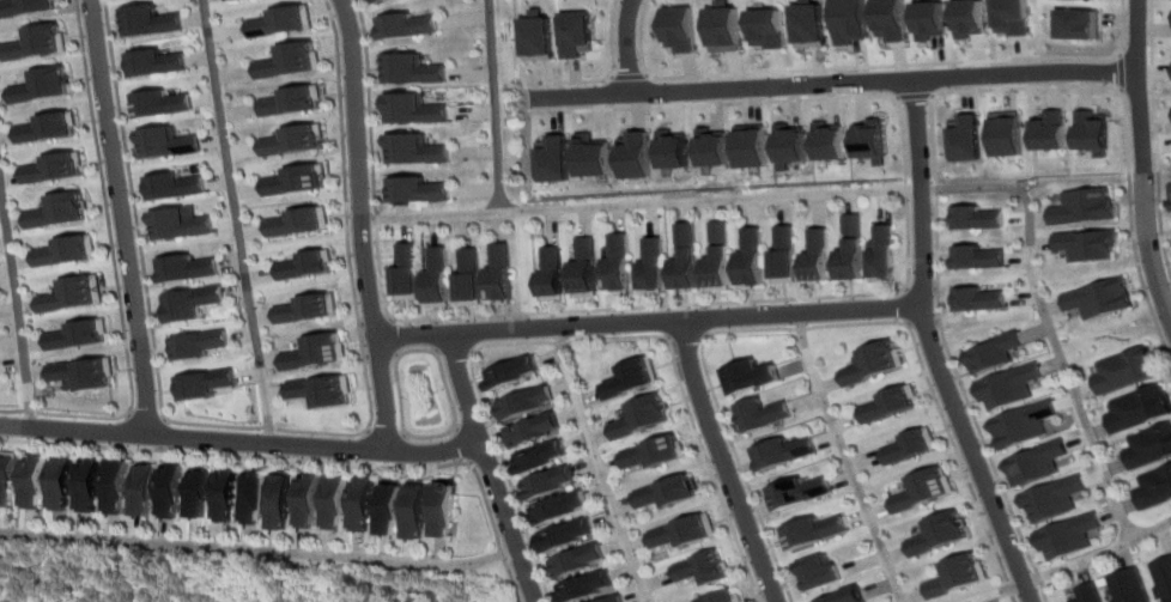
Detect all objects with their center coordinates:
building: (233, 0)
building: (381, 1)
building: (25, 6)
building: (1015, 17)
building: (973, 18)
building: (934, 19)
building: (151, 20)
building: (854, 20)
building: (896, 20)
building: (286, 22)
building: (1081, 24)
building: (412, 25)
building: (812, 25)
building: (684, 28)
building: (771, 28)
building: (728, 29)
building: (581, 34)
road: (1141, 36)
building: (540, 38)
building: (35, 42)
road: (631, 47)
building: (293, 61)
building: (158, 62)
road: (874, 67)
building: (412, 69)
road: (1123, 73)
road: (1027, 74)
road: (629, 75)
road: (608, 77)
building: (40, 85)
road: (773, 87)
road: (915, 96)
road: (581, 98)
building: (295, 101)
building: (165, 102)
road: (495, 107)
building: (415, 110)
road: (932, 124)
building: (43, 128)
building: (1050, 130)
building: (1092, 130)
building: (1007, 133)
road: (1155, 134)
building: (966, 139)
building: (297, 140)
building: (872, 140)
building: (829, 141)
building: (168, 142)
building: (790, 145)
building: (751, 146)
building: (711, 148)
building: (417, 150)
building: (673, 150)
building: (593, 156)
building: (635, 156)
building: (553, 158)
building: (54, 168)
building: (298, 180)
building: (1170, 186)
building: (177, 187)
building: (421, 189)
road: (874, 194)
road: (1145, 197)
building: (1084, 206)
building: (57, 212)
building: (979, 217)
road: (119, 218)
building: (298, 221)
road: (241, 223)
building: (182, 225)
road: (360, 226)
building: (1090, 244)
building: (850, 247)
building: (65, 251)
building: (882, 251)
building: (784, 253)
building: (685, 254)
building: (817, 254)
building: (718, 255)
building: (751, 256)
building: (981, 257)
building: (619, 261)
building: (651, 262)
building: (305, 264)
building: (585, 266)
building: (189, 268)
building: (405, 270)
road: (113, 272)
building: (500, 273)
building: (553, 275)
building: (437, 278)
building: (469, 279)
road: (922, 288)
building: (72, 296)
building: (983, 299)
building: (1103, 299)
road: (767, 300)
building: (193, 303)
road: (908, 306)
building: (307, 309)
road: (17, 312)
road: (650, 322)
road: (927, 323)
road: (814, 327)
road: (435, 334)
road: (469, 334)
building: (75, 335)
road: (687, 335)
road: (393, 336)
road: (578, 340)
building: (200, 345)
road: (935, 348)
road: (455, 351)
building: (316, 352)
building: (994, 354)
road: (380, 357)
building: (876, 364)
building: (512, 372)
building: (1126, 372)
building: (0, 373)
building: (84, 375)
building: (753, 377)
building: (635, 378)
building: (206, 383)
building: (1011, 387)
building: (321, 393)
building: (527, 402)
building: (891, 405)
building: (1140, 411)
building: (767, 414)
road: (146, 416)
building: (648, 416)
road: (472, 424)
building: (1024, 425)
road: (272, 428)
building: (535, 430)
road: (387, 432)
road: (162, 434)
road: (431, 436)
road: (239, 443)
road: (460, 445)
building: (909, 445)
building: (1148, 449)
building: (660, 452)
building: (785, 452)
road: (484, 457)
building: (541, 457)
road: (848, 458)
road: (309, 461)
road: (729, 462)
building: (1037, 462)
road: (606, 464)
road: (490, 468)
building: (7, 474)
building: (34, 480)
building: (61, 482)
building: (553, 482)
building: (87, 485)
building: (116, 485)
building: (144, 488)
building: (1153, 488)
building: (171, 489)
building: (923, 489)
building: (199, 492)
building: (672, 492)
building: (803, 492)
building: (226, 493)
building: (253, 497)
building: (309, 499)
building: (1051, 499)
building: (280, 500)
building: (336, 500)
building: (363, 504)
building: (390, 506)
building: (445, 509)
building: (563, 509)
building: (418, 510)
building: (817, 530)
building: (688, 531)
building: (938, 534)
building: (570, 536)
building: (1064, 536)
road: (260, 549)
building: (578, 558)
road: (1073, 565)
building: (708, 567)
building: (820, 571)
building: (954, 574)
building: (1163, 577)
building: (584, 584)
building: (1126, 586)
building: (1085, 594)
building: (727, 597)
building: (849, 597)
building: (614, 598)

